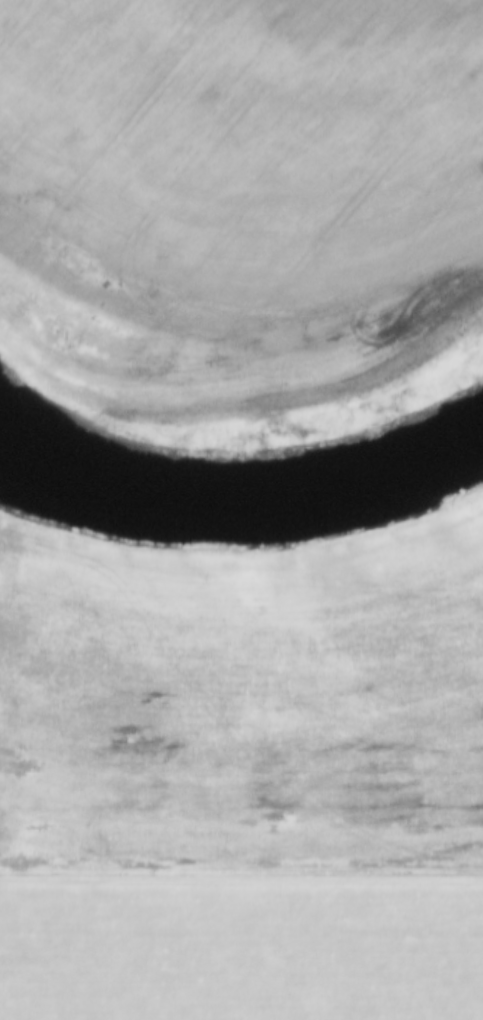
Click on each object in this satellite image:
river: (239, 506)

